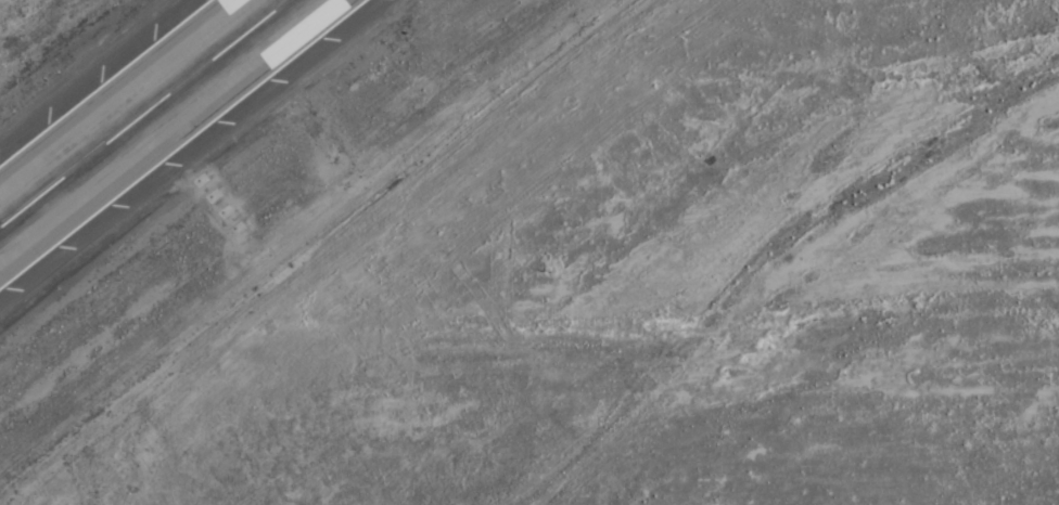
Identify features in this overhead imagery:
airport runway: (142, 113)
airport taxiway: (3, 221)

